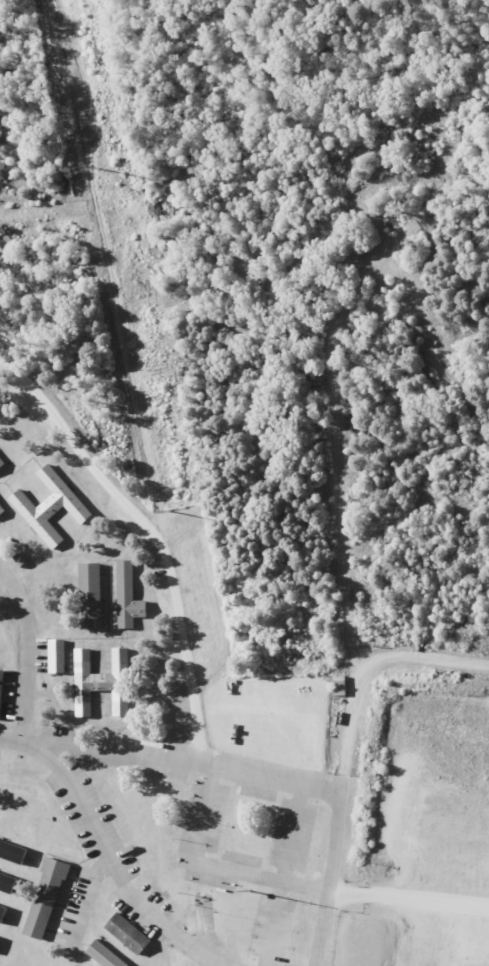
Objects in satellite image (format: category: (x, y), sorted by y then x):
power tower: (97, 169)
building: (2, 462)
building: (51, 507)
building: (2, 510)
power tower: (170, 512)
building: (92, 596)
building: (128, 597)
building: (56, 656)
road: (31, 660)
building: (101, 682)
building: (2, 692)
road: (240, 769)
building: (13, 852)
road: (114, 866)
building: (7, 883)
power tower: (208, 888)
building: (46, 898)
road: (411, 902)
building: (3, 912)
road: (321, 928)
building: (128, 934)
building: (104, 955)

